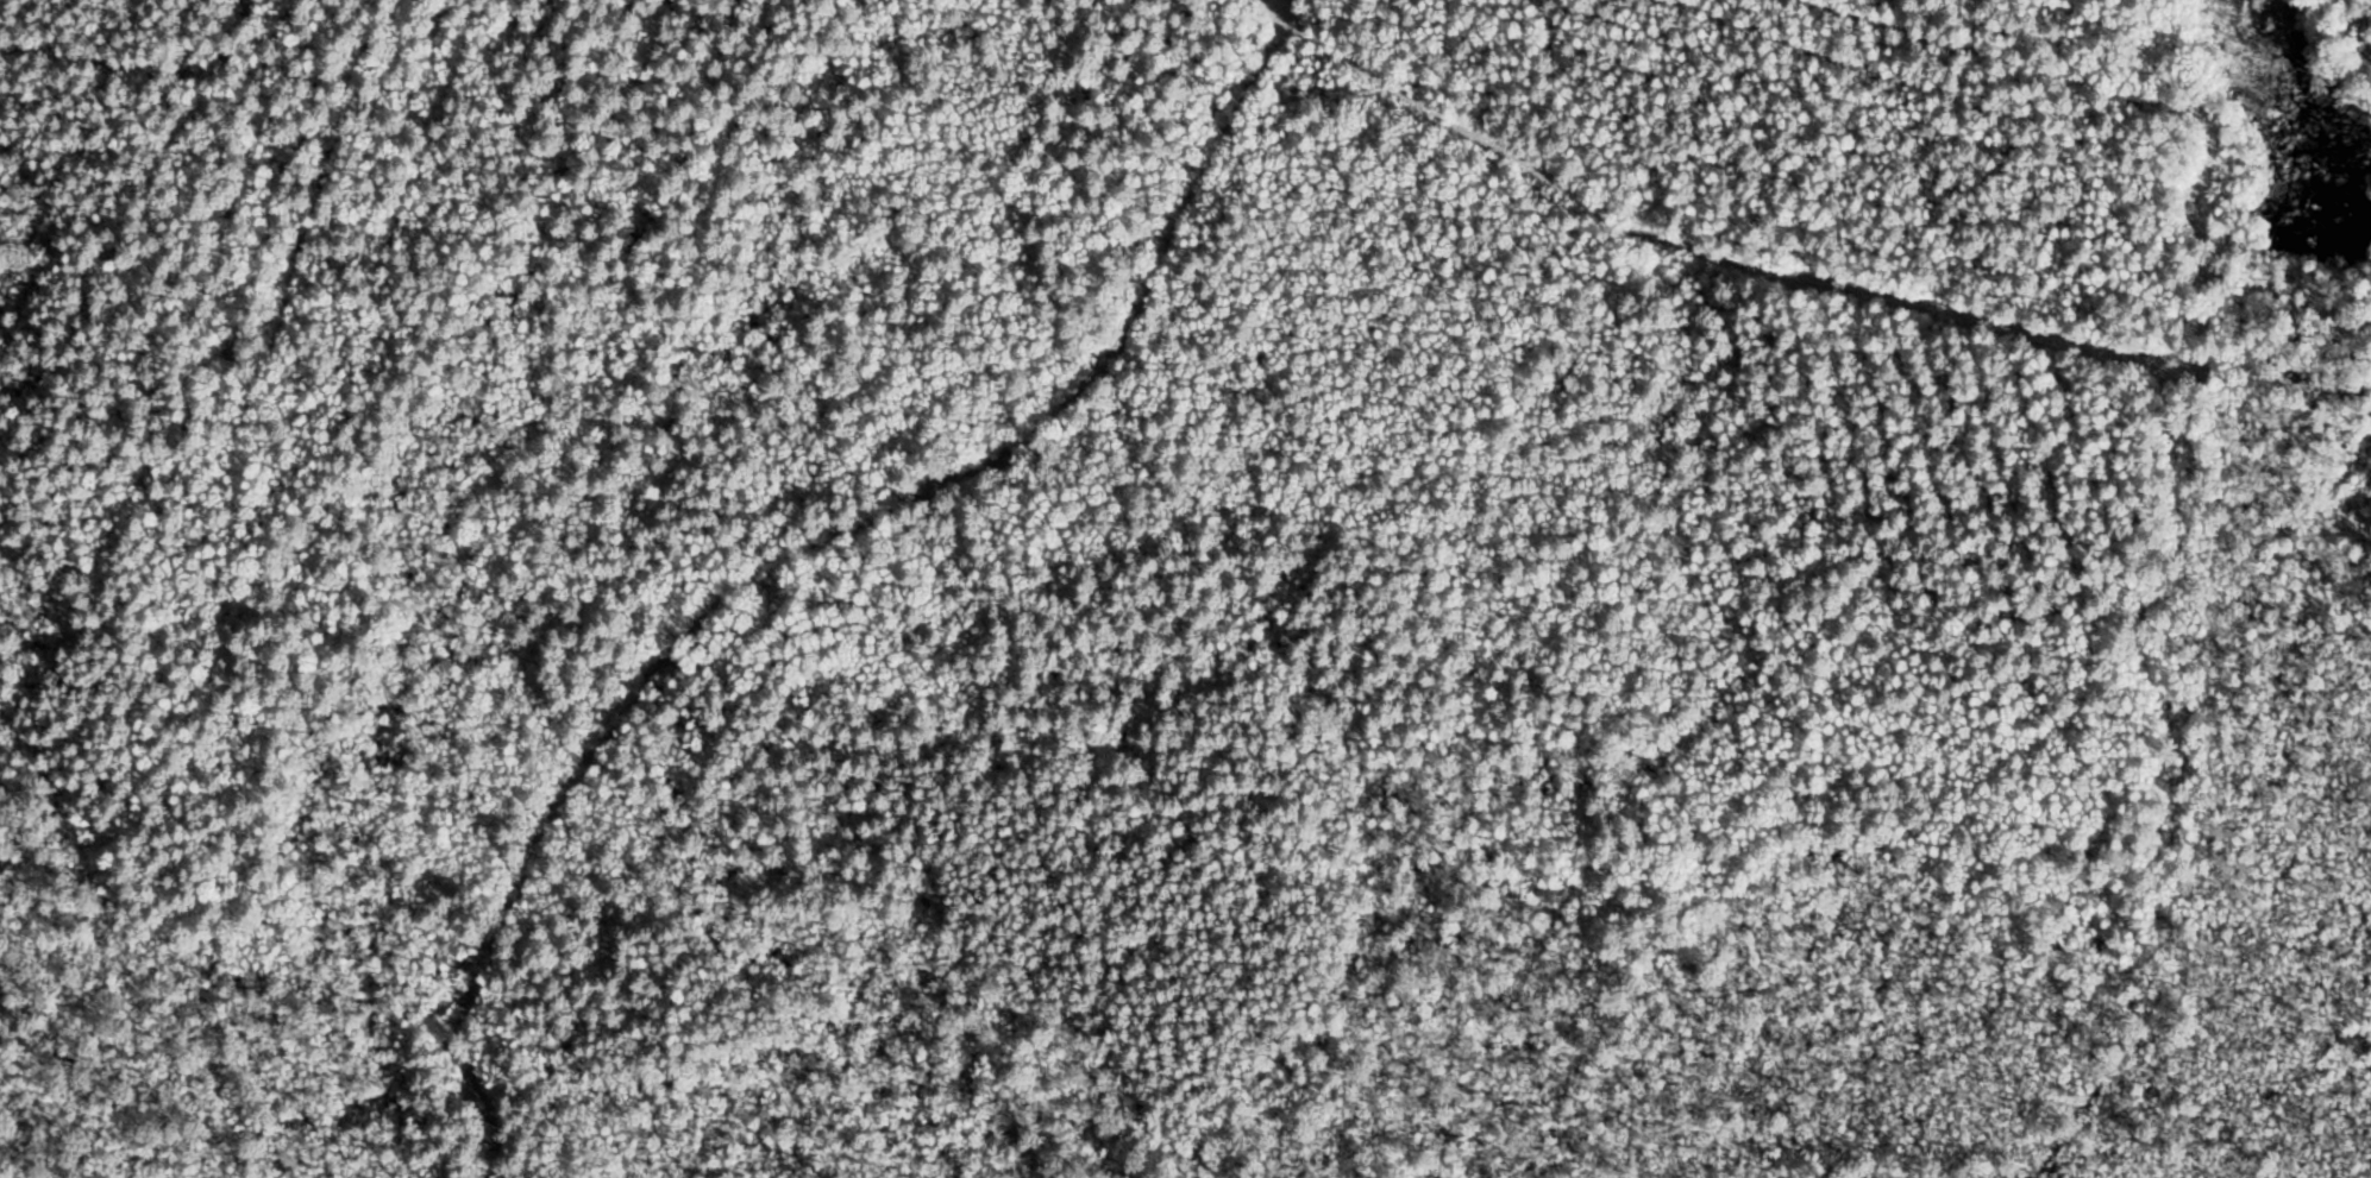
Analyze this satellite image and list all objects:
road: (921, 519)
park: (1185, 588)

